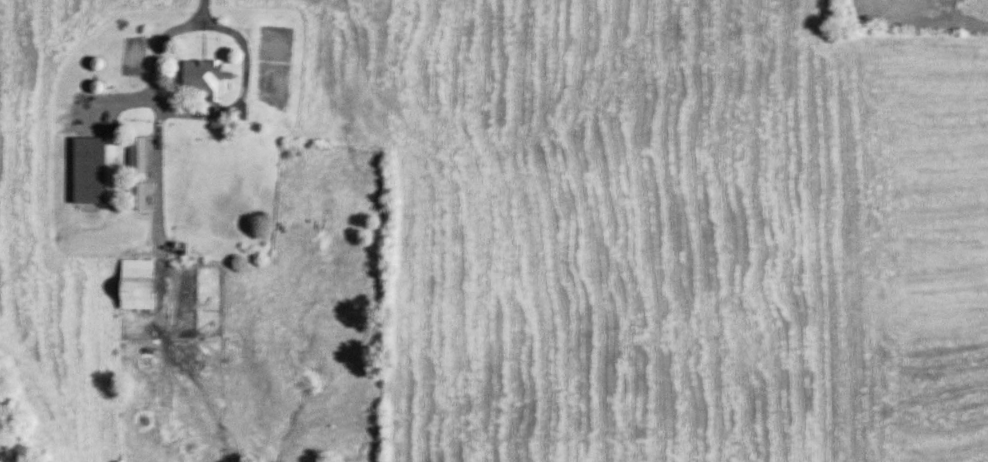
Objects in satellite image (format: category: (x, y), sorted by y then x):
road: (204, 11)
road: (169, 32)
road: (391, 71)
building: (196, 81)
building: (134, 155)
building: (84, 171)
building: (130, 285)

